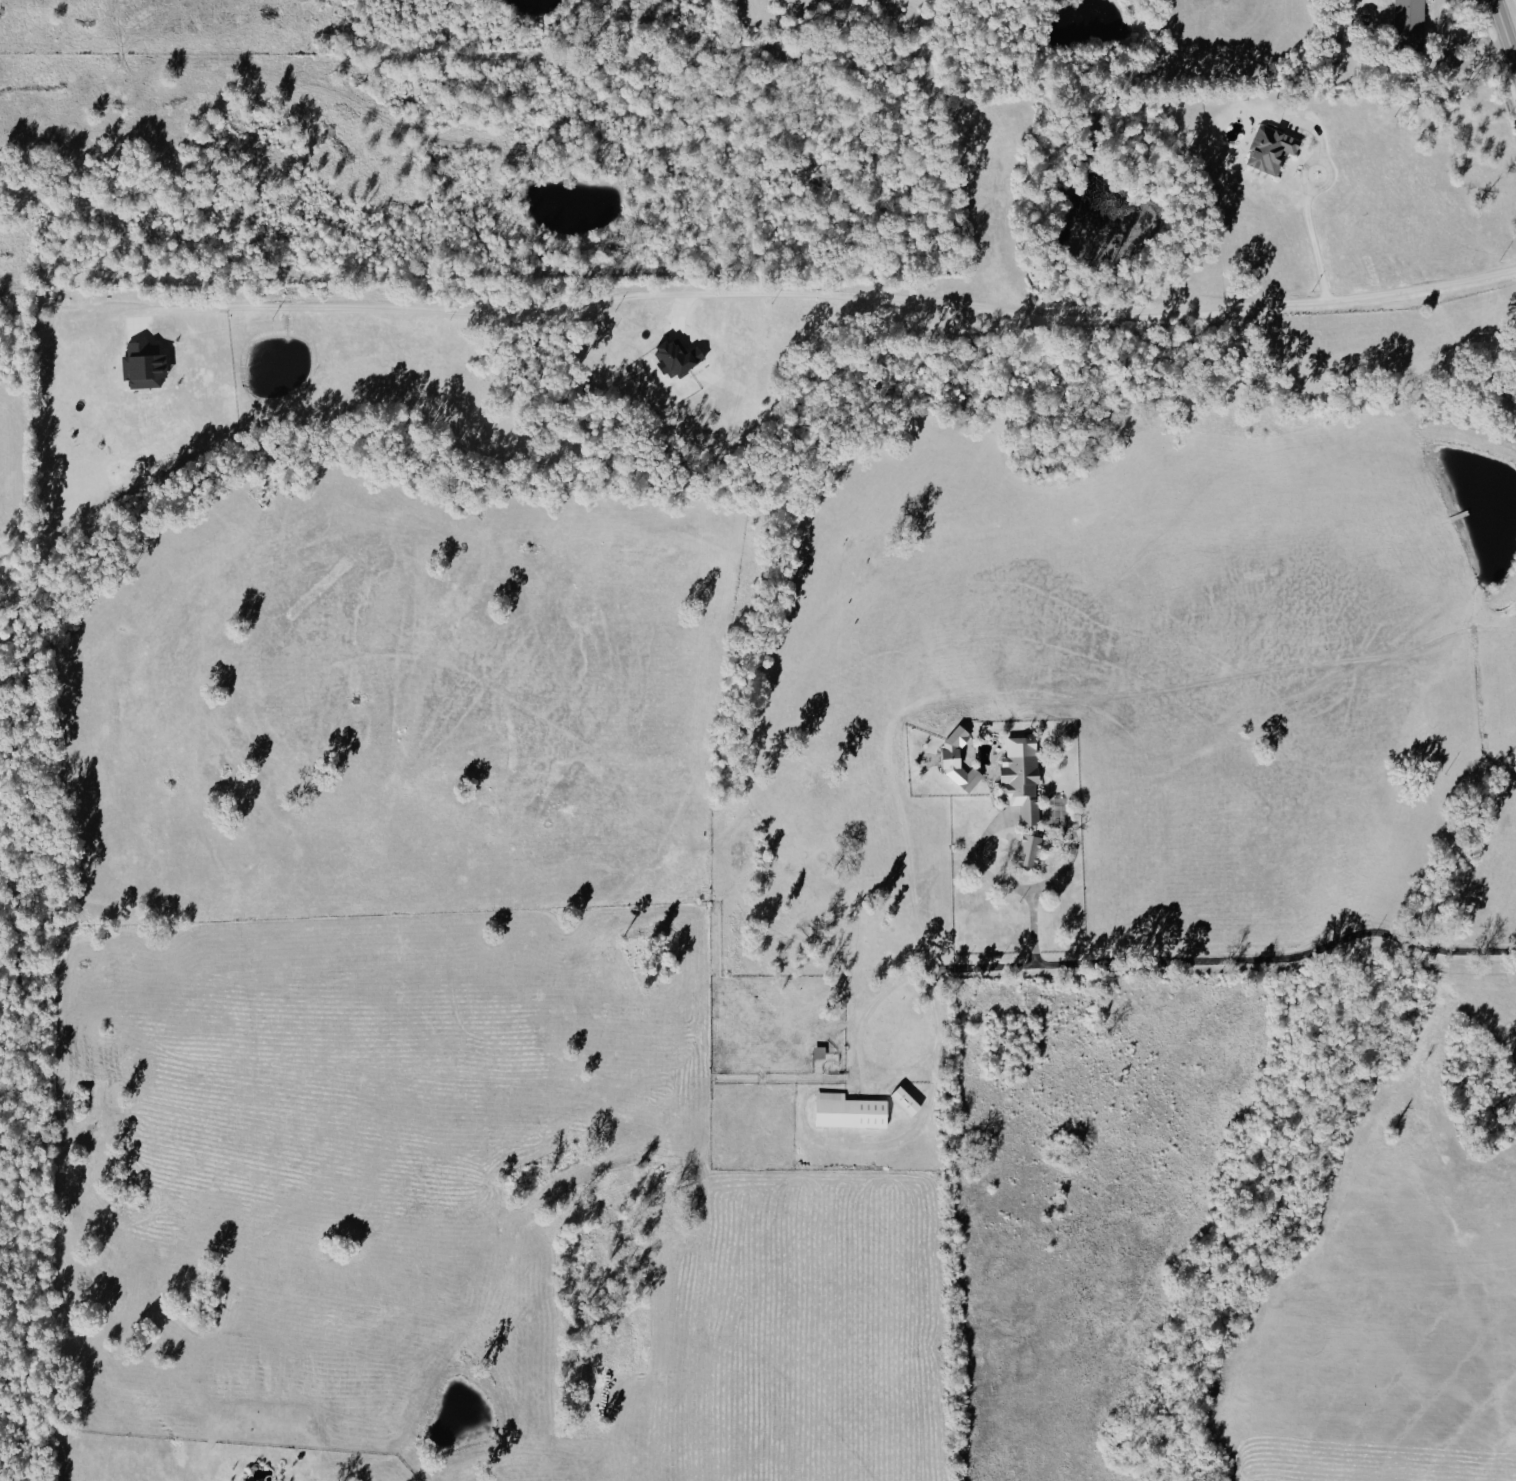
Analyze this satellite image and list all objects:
building: (1406, 16)
road: (1504, 32)
building: (1270, 148)
road: (1317, 242)
road: (823, 297)
building: (675, 357)
building: (142, 364)
building: (952, 748)
building: (1021, 787)
building: (1028, 850)
road: (983, 859)
road: (1055, 885)
road: (1231, 963)
building: (817, 1053)
road: (870, 1068)
building: (904, 1101)
building: (848, 1111)

